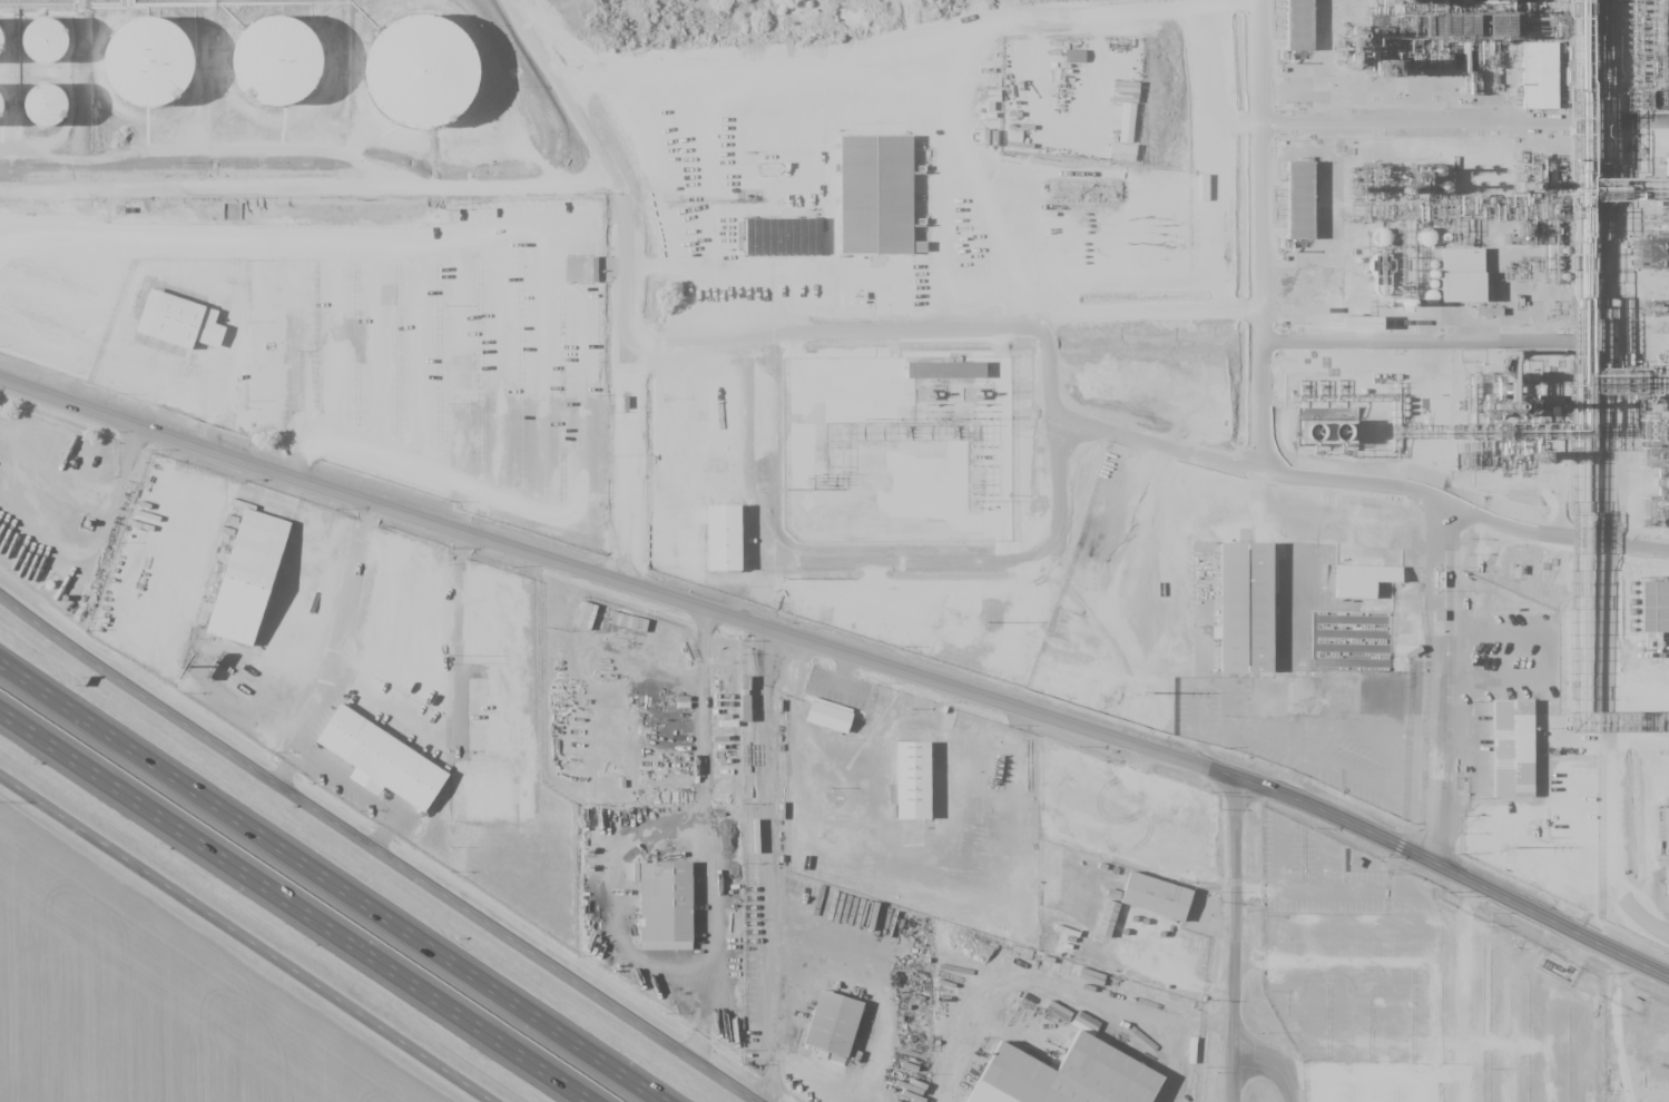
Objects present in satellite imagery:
building: (1491, 1)
building: (1508, 6)
building: (1298, 24)
building: (1312, 27)
building: (58, 50)
storage tank: (58, 50)
building: (7, 51)
storage tank: (7, 51)
building: (288, 70)
storage tank: (288, 70)
building: (158, 72)
storage tank: (158, 72)
building: (1539, 76)
building: (438, 79)
storage tank: (438, 79)
building: (45, 105)
building: (61, 116)
storage tank: (61, 116)
building: (8, 117)
storage tank: (8, 117)
building: (782, 132)
building: (1667, 166)
building: (799, 171)
road: (308, 185)
building: (799, 197)
building: (882, 200)
power tower: (672, 201)
building: (1307, 205)
building: (1382, 237)
building: (787, 238)
building: (1425, 238)
building: (1645, 253)
building: (582, 268)
road: (627, 272)
building: (1461, 275)
building: (1474, 296)
road: (1260, 319)
building: (179, 323)
building: (1372, 329)
building: (945, 368)
building: (1325, 432)
power substation: (896, 447)
power tower: (813, 479)
power tower: (779, 490)
power tower: (978, 500)
road: (1548, 535)
building: (732, 542)
building: (679, 543)
road: (621, 577)
power tower: (780, 579)
building: (1362, 580)
building: (253, 581)
building: (1253, 613)
building: (1661, 614)
power tower: (978, 621)
building: (1390, 627)
building: (1390, 687)
road: (1434, 689)
power tower: (1141, 693)
building: (1285, 696)
building: (488, 719)
building: (834, 719)
building: (1520, 754)
building: (387, 760)
building: (919, 785)
building: (491, 797)
power tower: (1500, 846)
road: (376, 852)
road: (333, 883)
road: (1450, 887)
building: (1161, 899)
road: (295, 905)
building: (665, 906)
road: (249, 937)
road: (1241, 941)
building: (1059, 943)
road: (1181, 982)
road: (1054, 985)
crop: (148, 1001)
road: (775, 1016)
building: (836, 1027)
road: (1280, 1066)
building: (1064, 1076)

